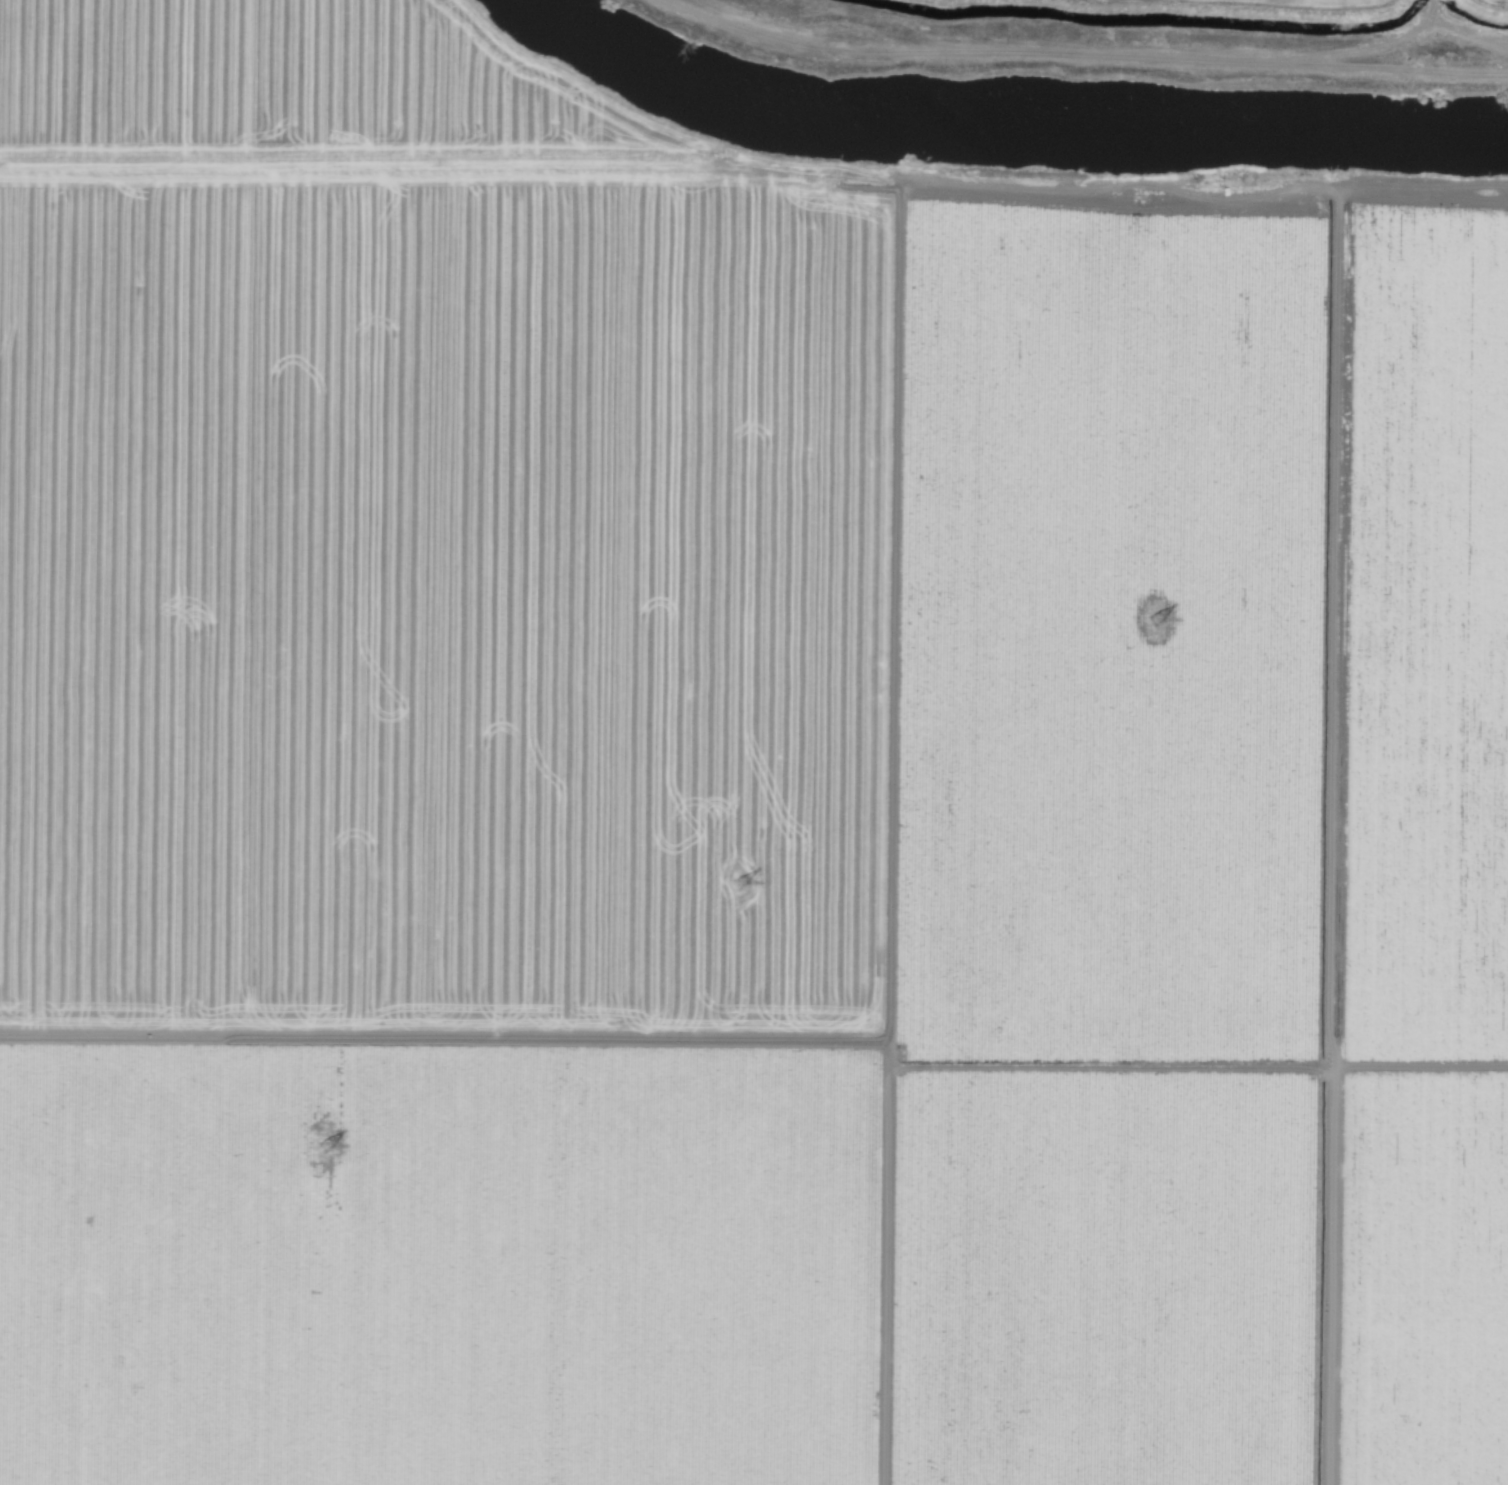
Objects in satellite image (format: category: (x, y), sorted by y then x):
power tower: (1161, 625)
power tower: (745, 888)
power tower: (330, 1149)

